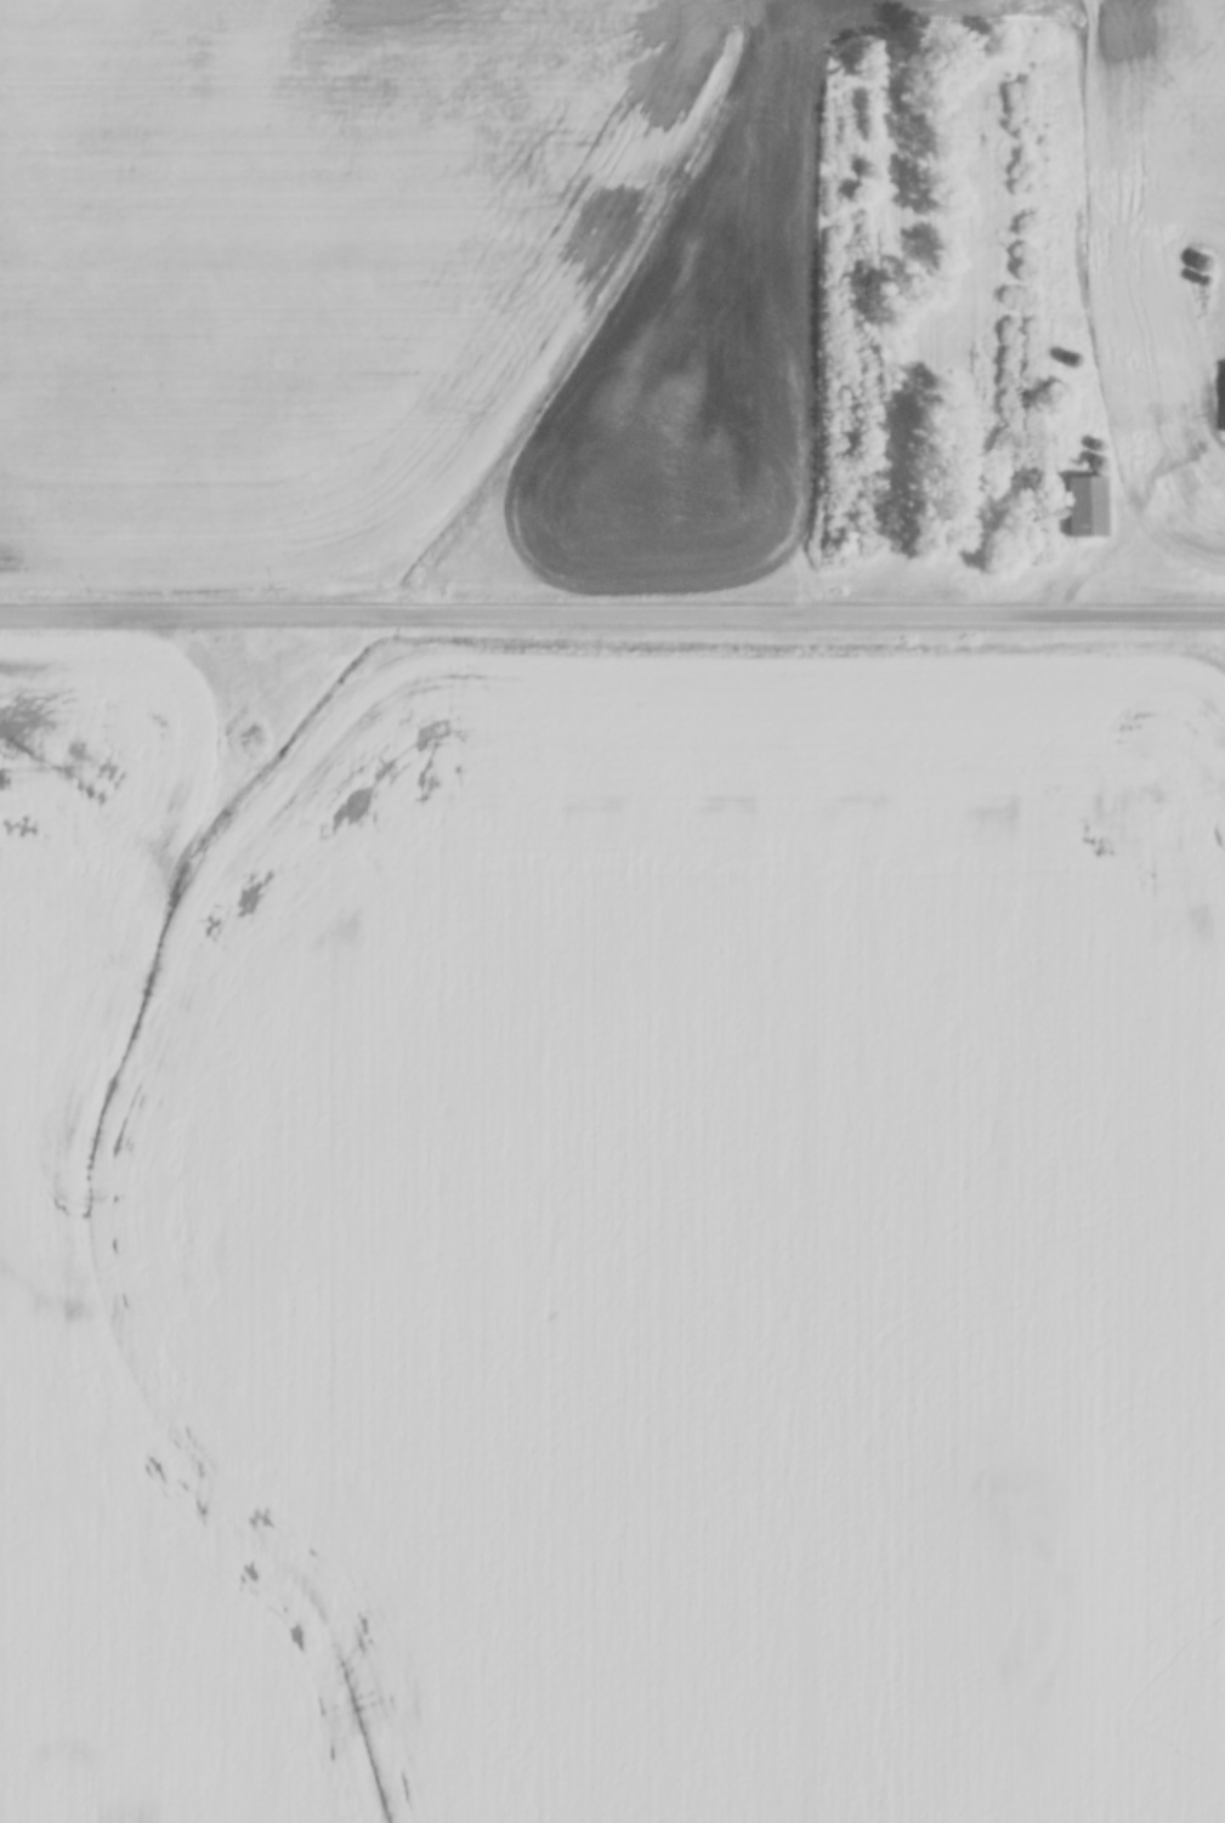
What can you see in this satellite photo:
building: (1198, 260)
building: (1068, 358)
building: (1096, 461)
building: (1084, 505)
road: (612, 608)

